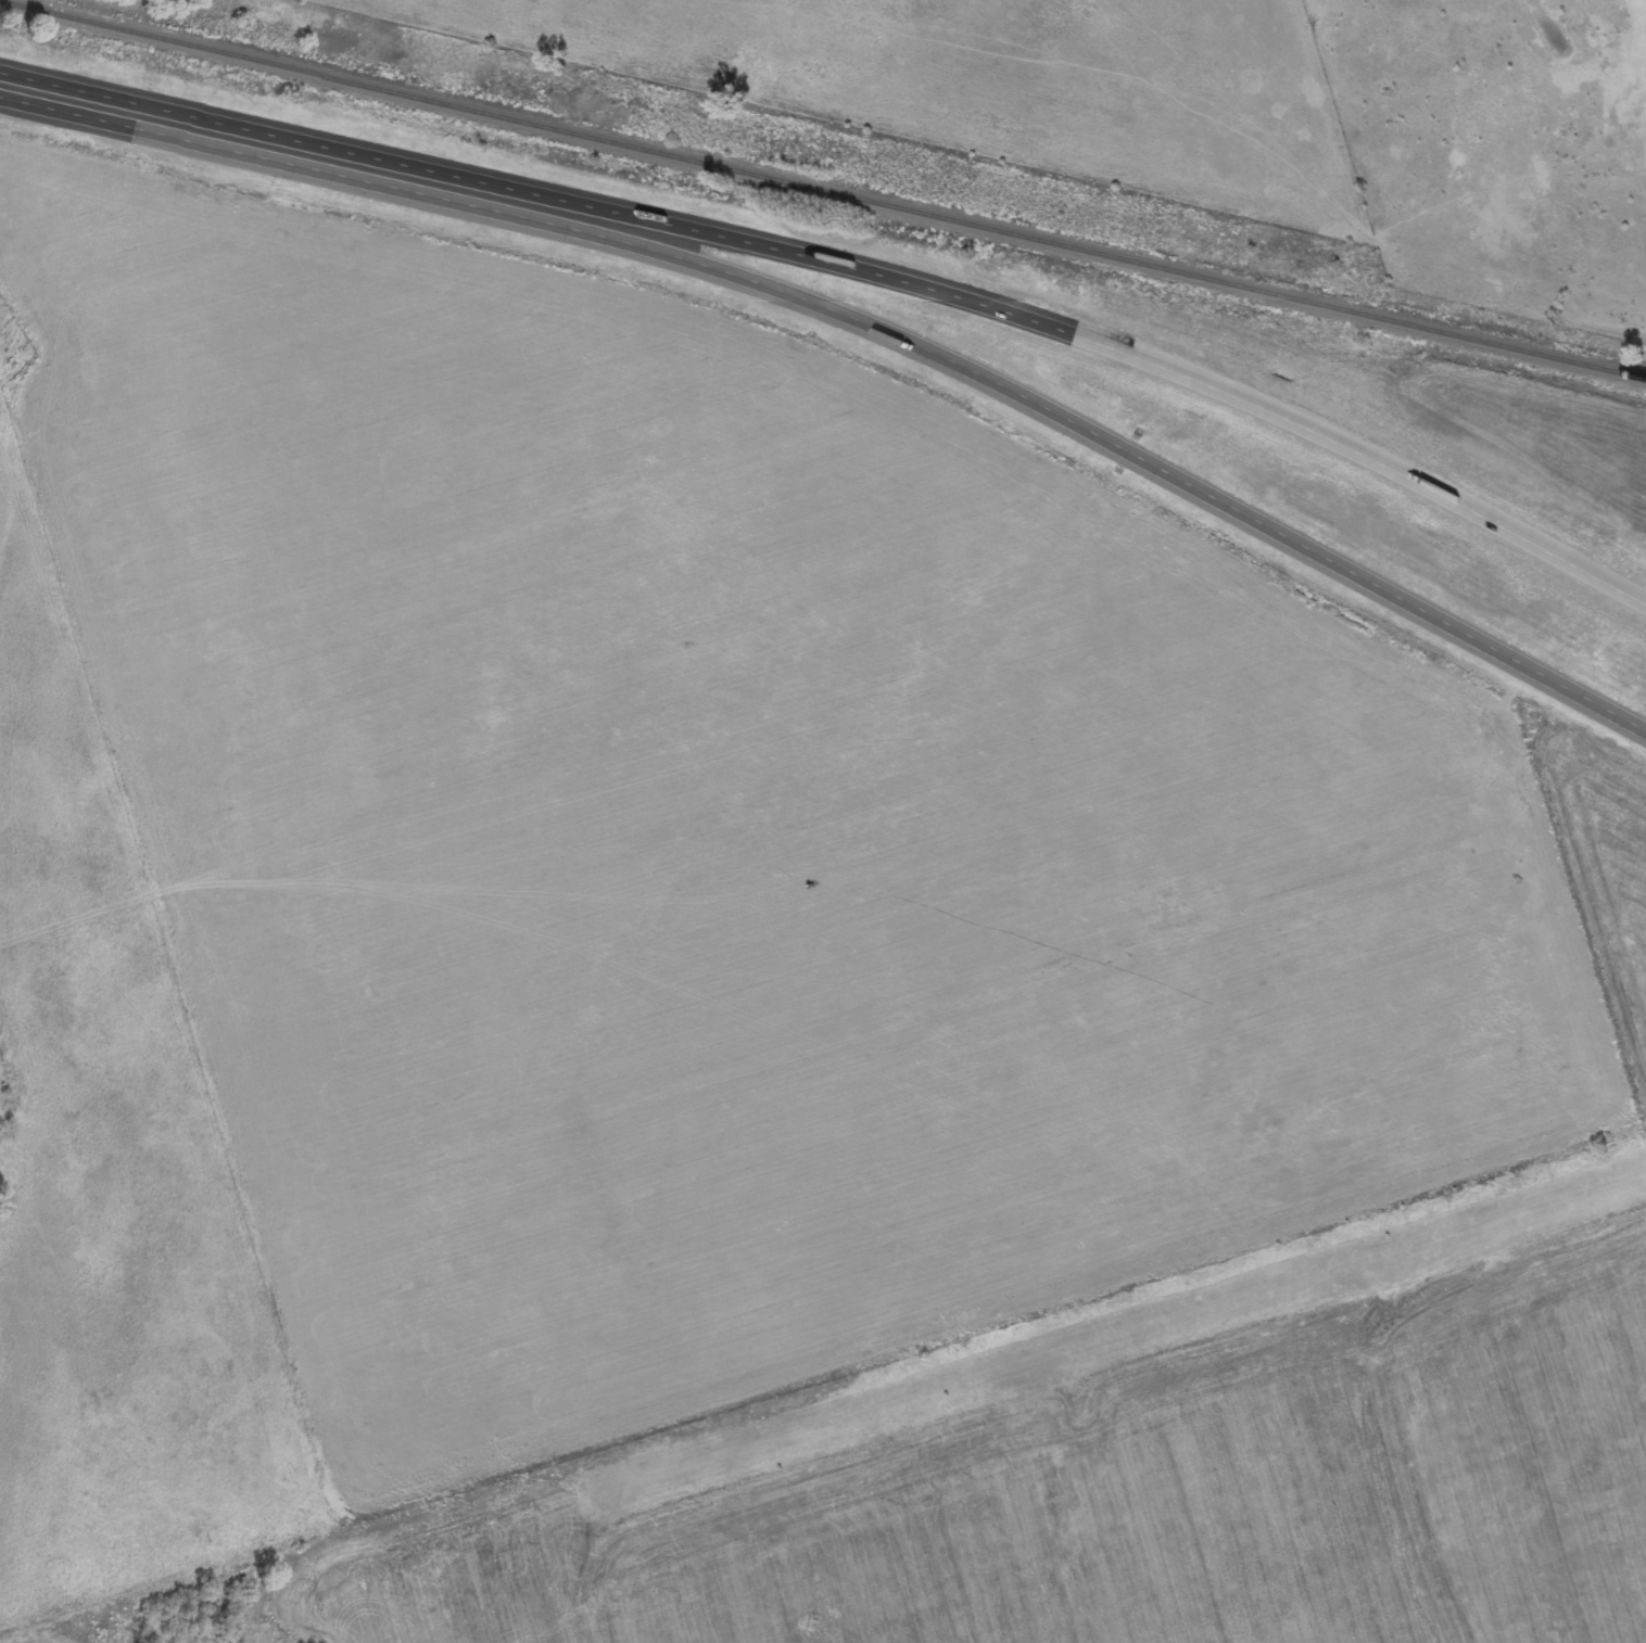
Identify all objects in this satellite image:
road: (240, 136)
railway: (823, 188)
road: (1085, 335)
road: (1078, 425)

